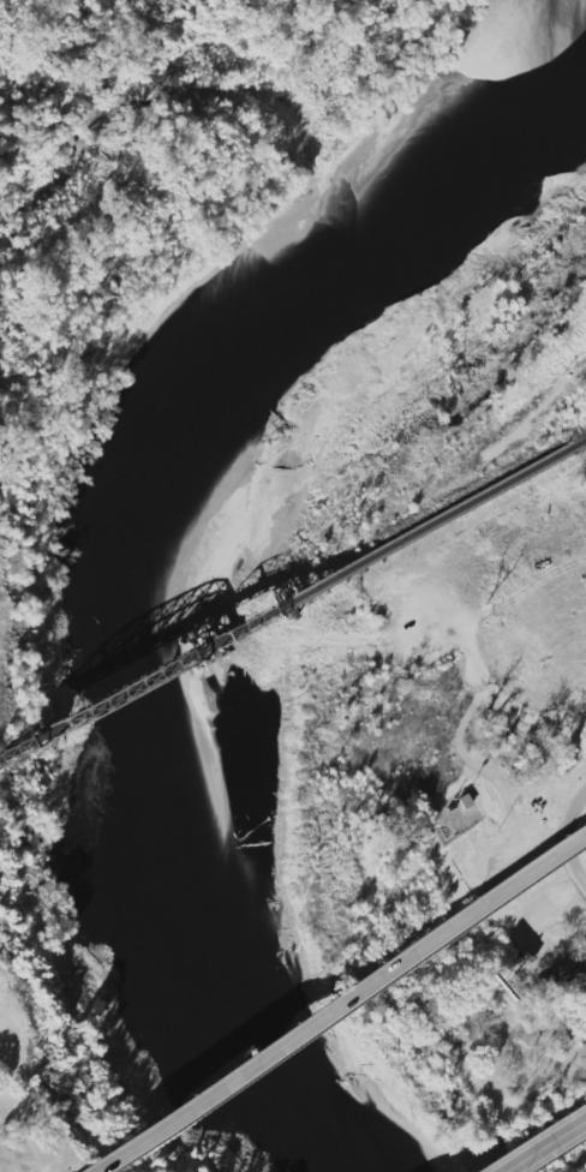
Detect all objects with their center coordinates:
railway: (576, 444)
river: (163, 531)
railway: (283, 604)
road: (567, 835)
building: (574, 968)
road: (341, 1003)
road: (544, 1146)
road: (6, 1158)
building: (54, 1162)

